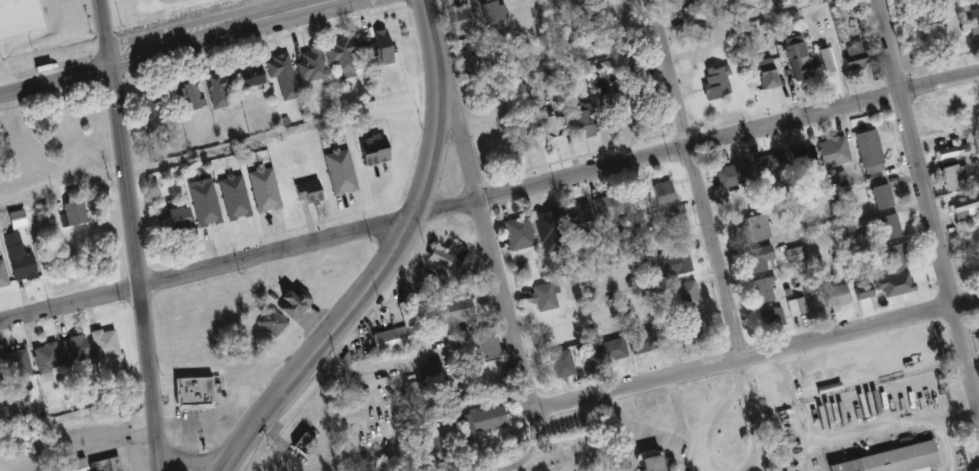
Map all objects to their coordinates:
building: (523, 8)
building: (491, 11)
building: (691, 13)
building: (22, 17)
building: (456, 18)
building: (972, 21)
road: (431, 32)
road: (165, 46)
building: (377, 47)
building: (340, 56)
building: (852, 56)
building: (795, 58)
building: (824, 60)
building: (308, 64)
building: (486, 64)
building: (611, 66)
building: (764, 73)
building: (248, 75)
building: (280, 75)
building: (713, 81)
road: (2, 84)
building: (216, 89)
building: (188, 96)
building: (152, 100)
building: (615, 105)
building: (938, 110)
building: (582, 122)
building: (978, 127)
building: (549, 131)
building: (520, 140)
road: (697, 143)
building: (865, 148)
building: (369, 150)
building: (947, 150)
building: (830, 152)
building: (800, 155)
building: (768, 164)
building: (337, 171)
building: (731, 175)
building: (953, 176)
road: (698, 179)
road: (61, 180)
building: (833, 180)
building: (262, 190)
building: (305, 193)
building: (232, 197)
building: (636, 197)
building: (878, 197)
building: (662, 200)
building: (202, 202)
road: (926, 206)
building: (601, 210)
building: (959, 210)
building: (75, 215)
building: (576, 215)
building: (172, 220)
building: (542, 226)
building: (887, 226)
building: (748, 229)
building: (844, 230)
road: (134, 234)
building: (515, 234)
road: (485, 238)
building: (16, 242)
building: (895, 256)
building: (444, 258)
building: (756, 260)
building: (672, 263)
building: (26, 266)
road: (207, 268)
building: (970, 270)
building: (4, 275)
road: (367, 286)
building: (761, 290)
building: (831, 294)
building: (685, 295)
building: (542, 297)
building: (295, 302)
building: (452, 314)
building: (770, 320)
building: (273, 322)
building: (690, 327)
building: (978, 328)
building: (396, 338)
building: (108, 343)
building: (624, 346)
building: (79, 351)
road: (757, 355)
building: (49, 358)
building: (558, 364)
building: (20, 365)
road: (737, 372)
building: (1, 380)
building: (194, 390)
road: (797, 398)
building: (479, 419)
road: (900, 419)
road: (707, 426)
road: (749, 430)
road: (667, 438)
road: (83, 448)
park: (537, 454)
road: (818, 456)
building: (895, 459)
road: (189, 463)
building: (653, 463)
building: (106, 464)
building: (68, 465)

